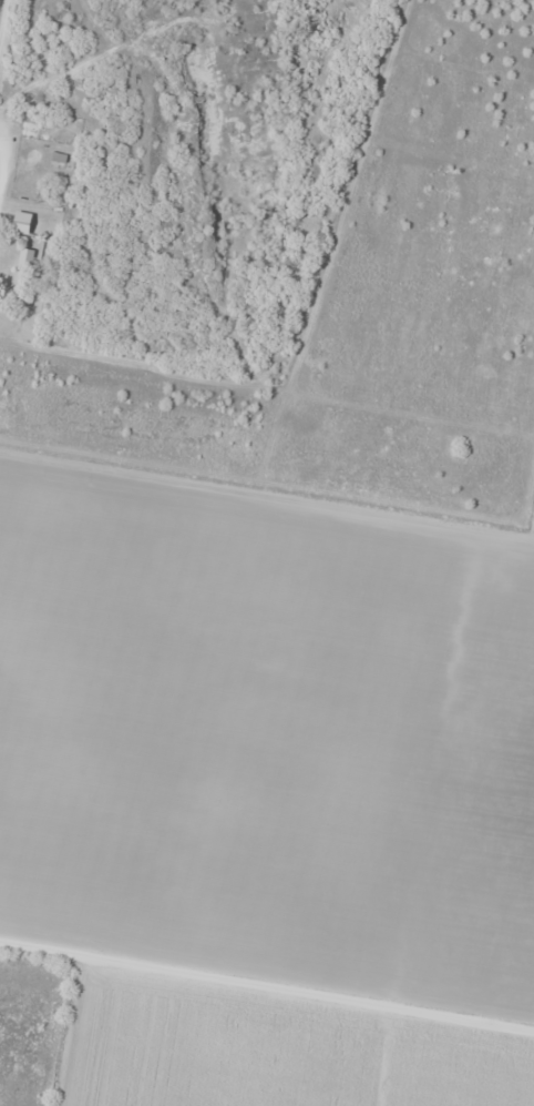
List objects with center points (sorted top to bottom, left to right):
building: (22, 223)
road: (267, 1000)

